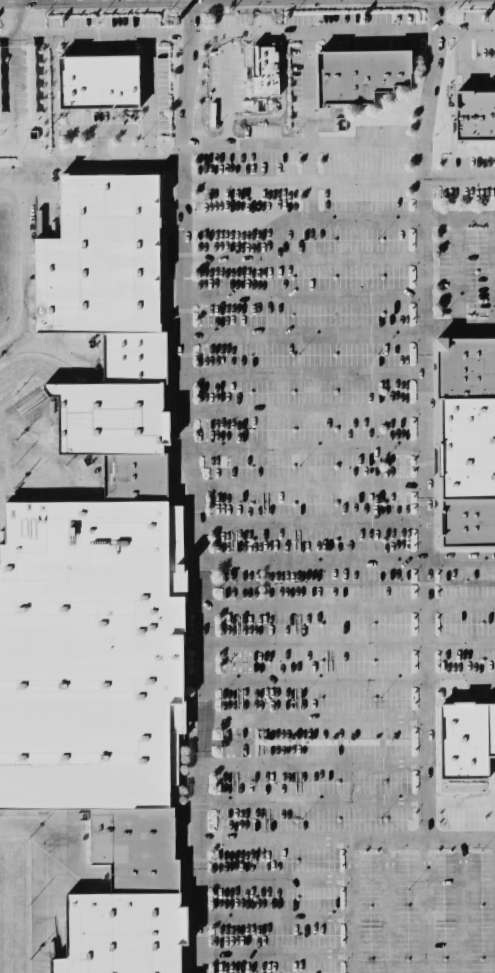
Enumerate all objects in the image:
road: (465, 28)
road: (204, 32)
building: (30, 50)
road: (463, 64)
building: (262, 69)
building: (358, 74)
building: (96, 81)
road: (9, 109)
road: (226, 110)
road: (149, 115)
building: (474, 116)
road: (308, 123)
road: (324, 144)
road: (54, 148)
road: (29, 178)
road: (301, 181)
road: (457, 181)
road: (339, 216)
building: (99, 253)
road: (301, 258)
road: (26, 270)
road: (493, 272)
road: (457, 273)
road: (302, 296)
road: (459, 328)
road: (303, 332)
building: (133, 356)
building: (465, 367)
road: (303, 373)
road: (304, 410)
road: (424, 417)
building: (108, 419)
building: (466, 447)
road: (307, 450)
building: (132, 476)
road: (195, 486)
road: (309, 486)
road: (311, 522)
building: (467, 523)
road: (348, 559)
parking lot: (331, 562)
road: (349, 604)
road: (349, 641)
building: (89, 652)
road: (349, 676)
road: (315, 719)
building: (464, 738)
road: (314, 763)
road: (348, 802)
road: (348, 837)
building: (139, 848)
road: (275, 877)
road: (41, 880)
road: (349, 904)
road: (387, 905)
road: (426, 905)
road: (461, 905)
road: (275, 915)
building: (121, 933)
road: (275, 953)

